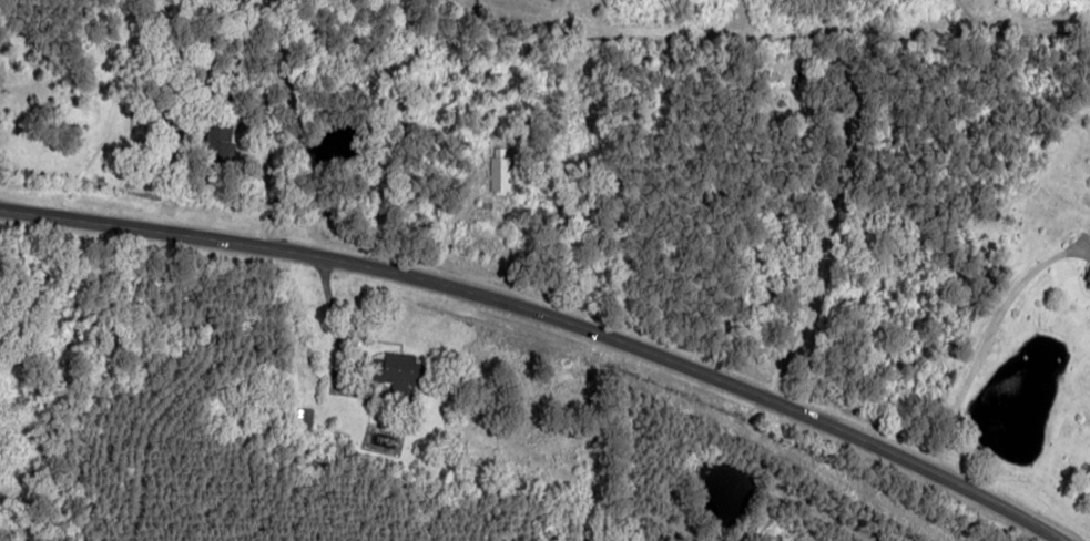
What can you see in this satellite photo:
road: (269, 151)
building: (499, 169)
building: (1087, 283)
road: (547, 318)
building: (397, 370)
building: (304, 419)

